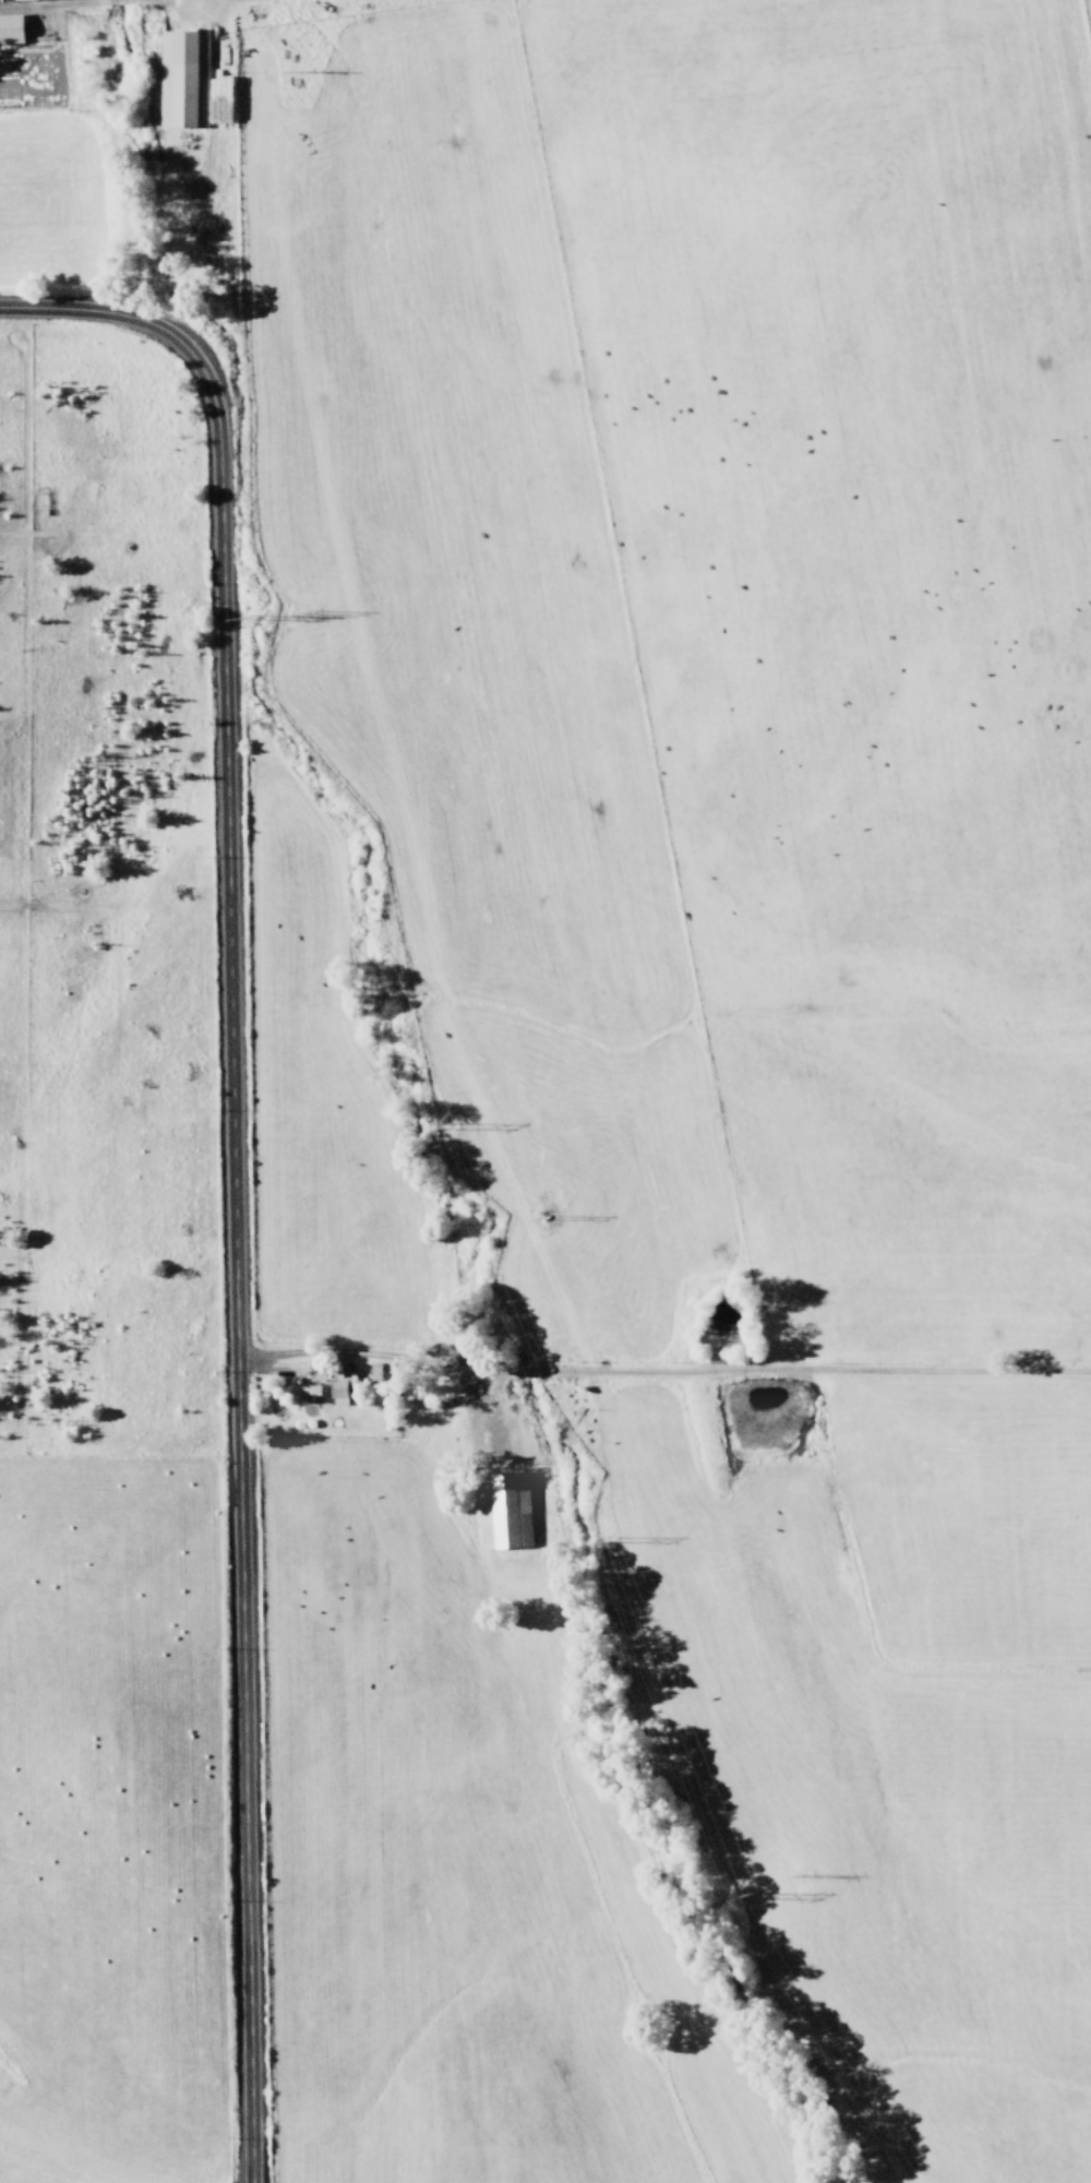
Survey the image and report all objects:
building: (10, 28)
building: (181, 79)
power tower: (245, 619)
power tower: (447, 1132)
road: (228, 1162)
building: (298, 1389)
building: (336, 1393)
power tower: (602, 1542)
power tower: (739, 1897)

